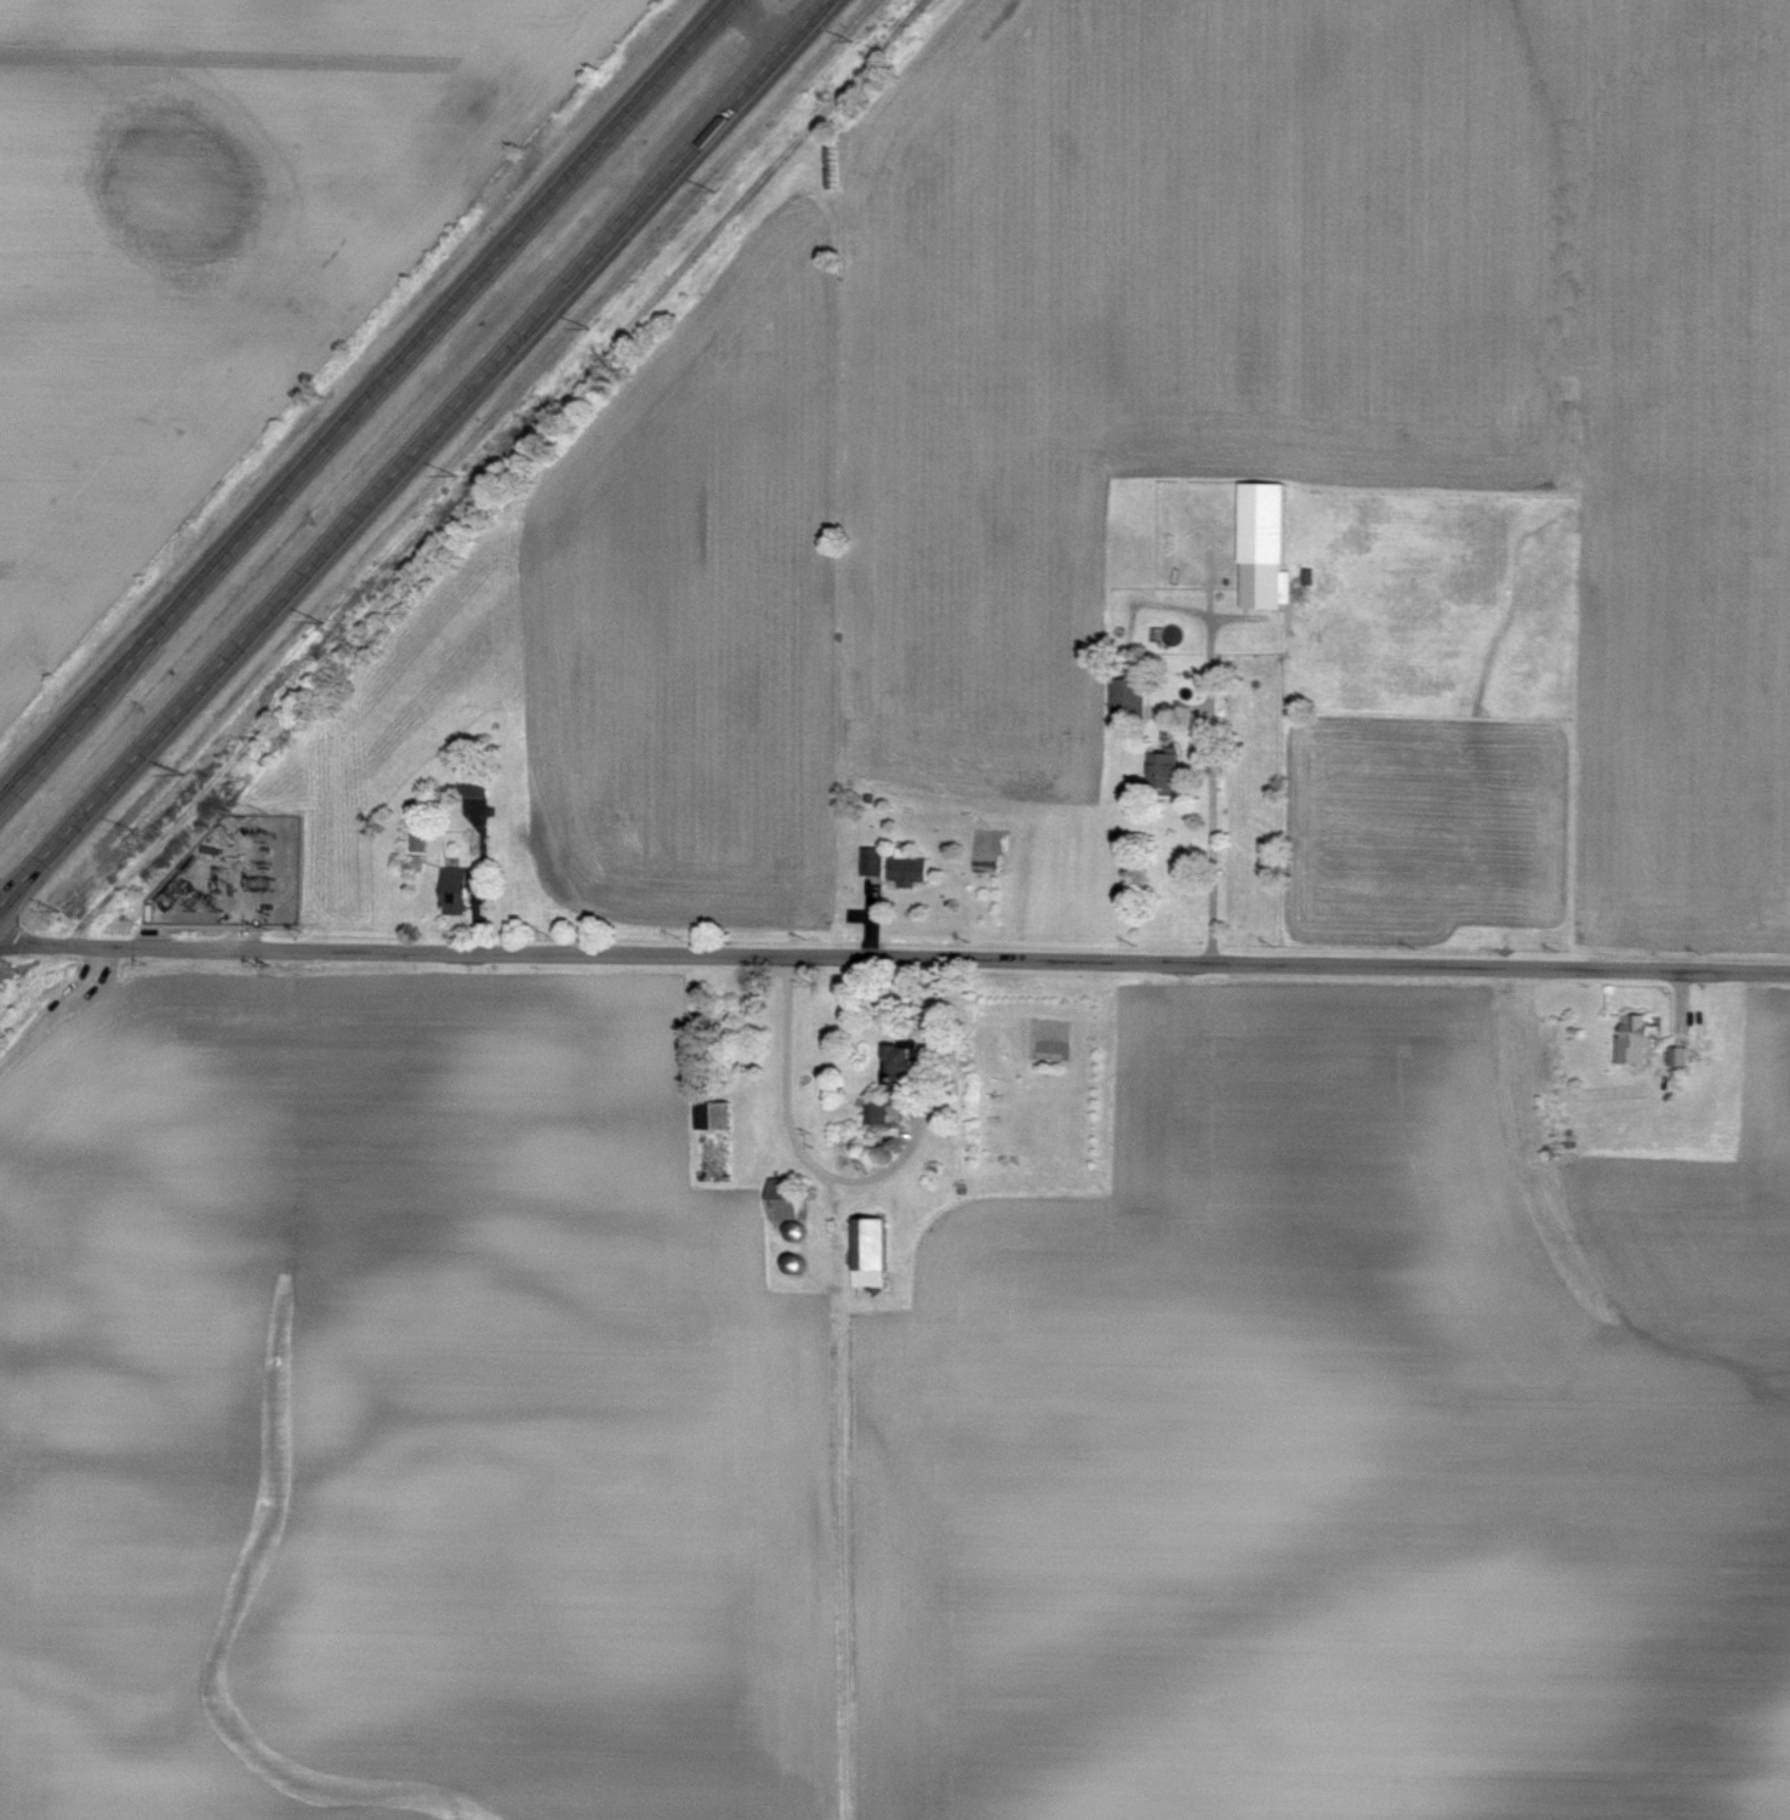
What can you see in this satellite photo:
road: (759, 23)
road: (364, 398)
road: (414, 453)
building: (1264, 553)
building: (1133, 702)
building: (1162, 775)
road: (1213, 788)
building: (472, 789)
building: (872, 862)
building: (907, 868)
power substation: (235, 877)
building: (455, 891)
road: (894, 955)
road: (57, 1011)
building: (1634, 1039)
building: (1678, 1056)
building: (878, 1114)
building: (712, 1116)
road: (855, 1175)
building: (786, 1200)
building: (870, 1253)

